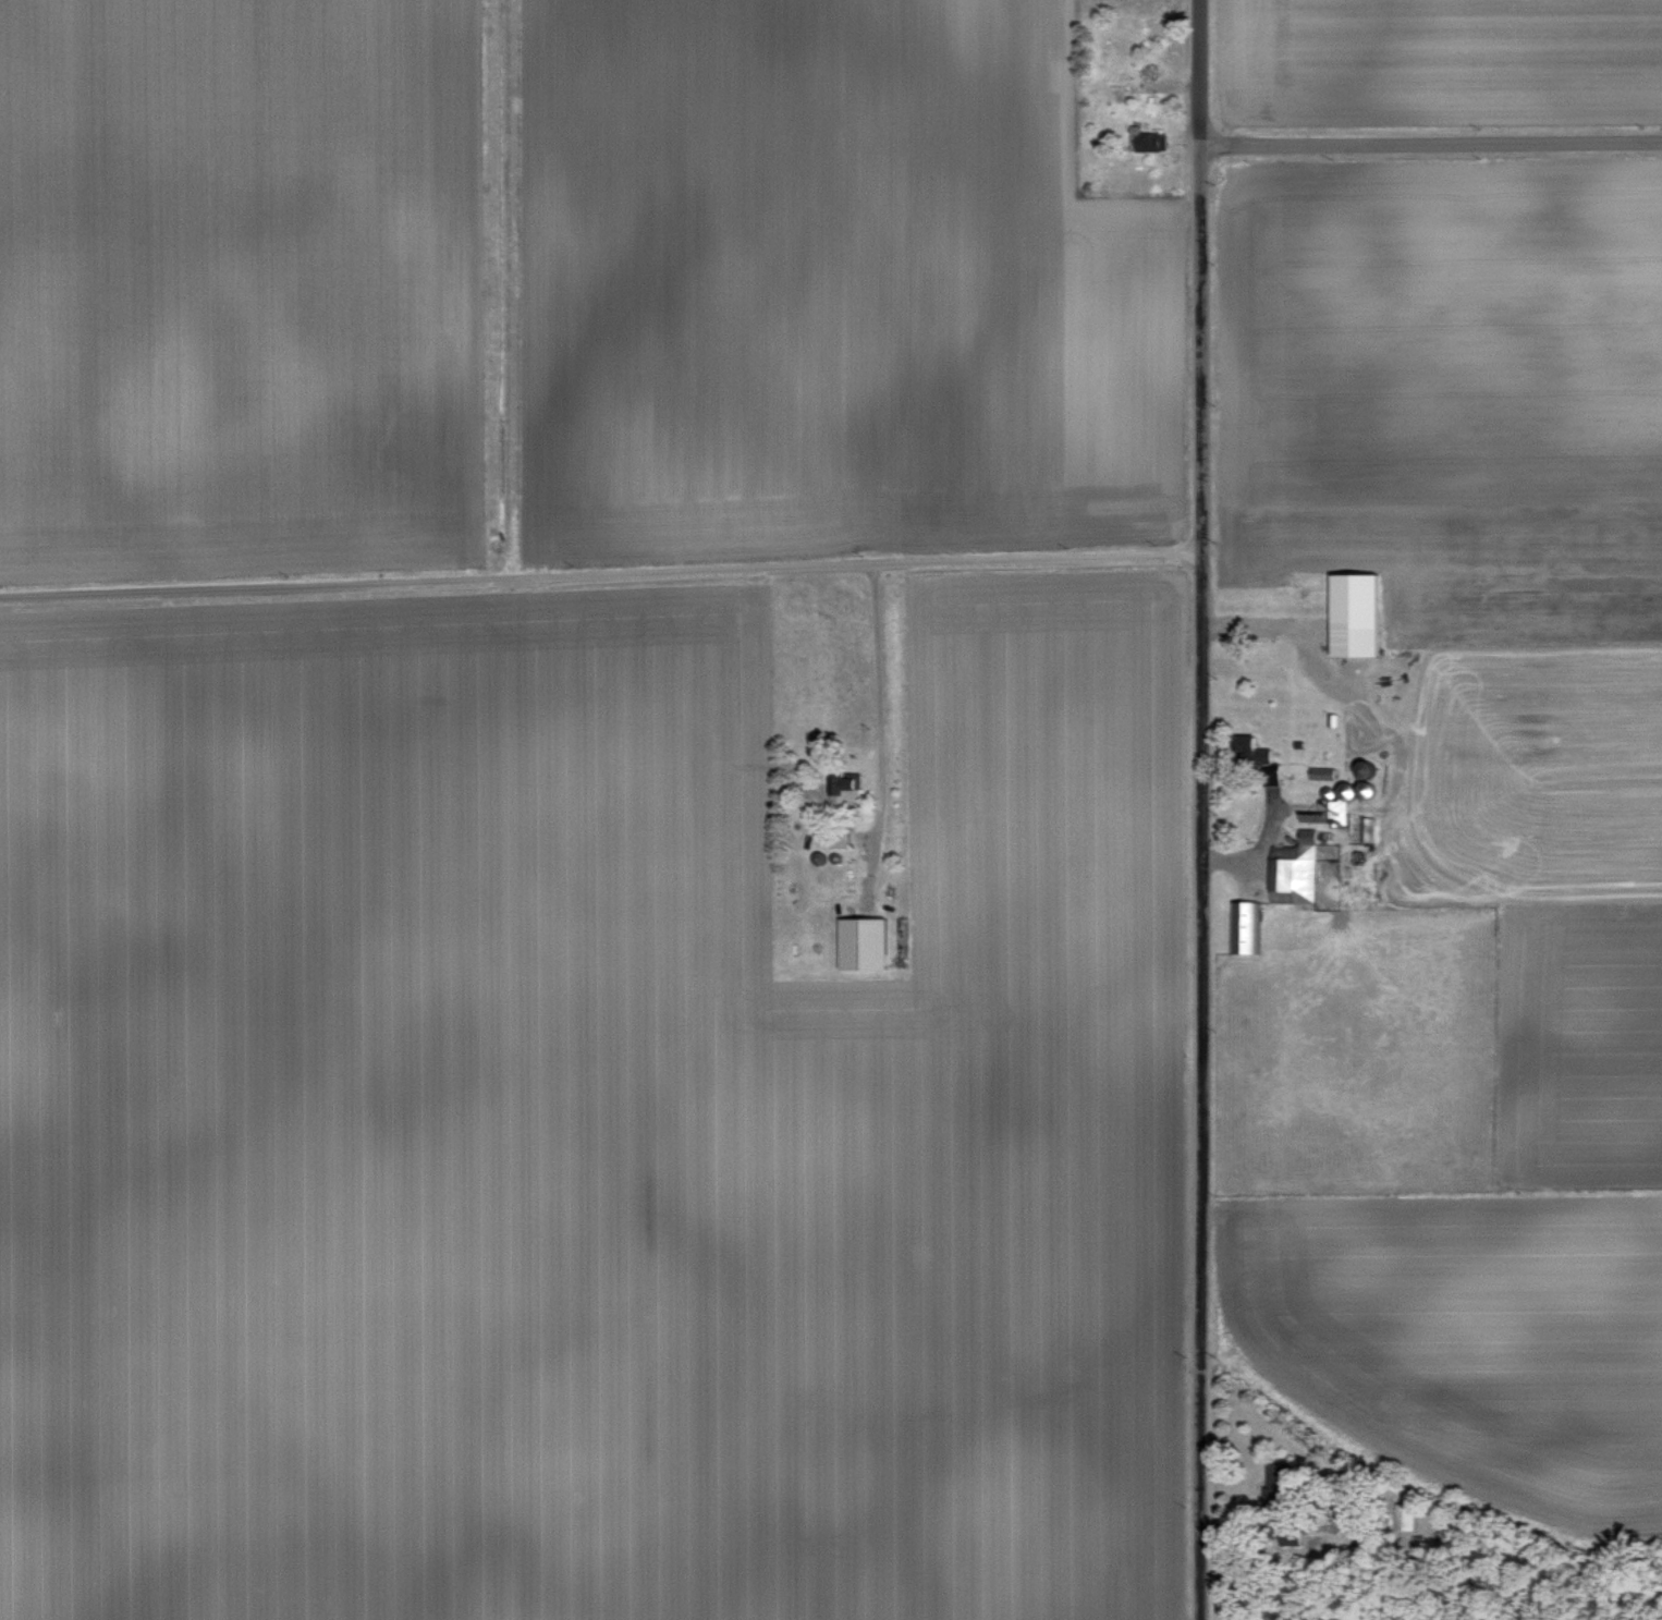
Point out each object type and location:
building: (1147, 141)
road: (1429, 141)
road: (599, 574)
building: (1349, 613)
road: (876, 699)
road: (1198, 809)
building: (1290, 867)
building: (1242, 924)

